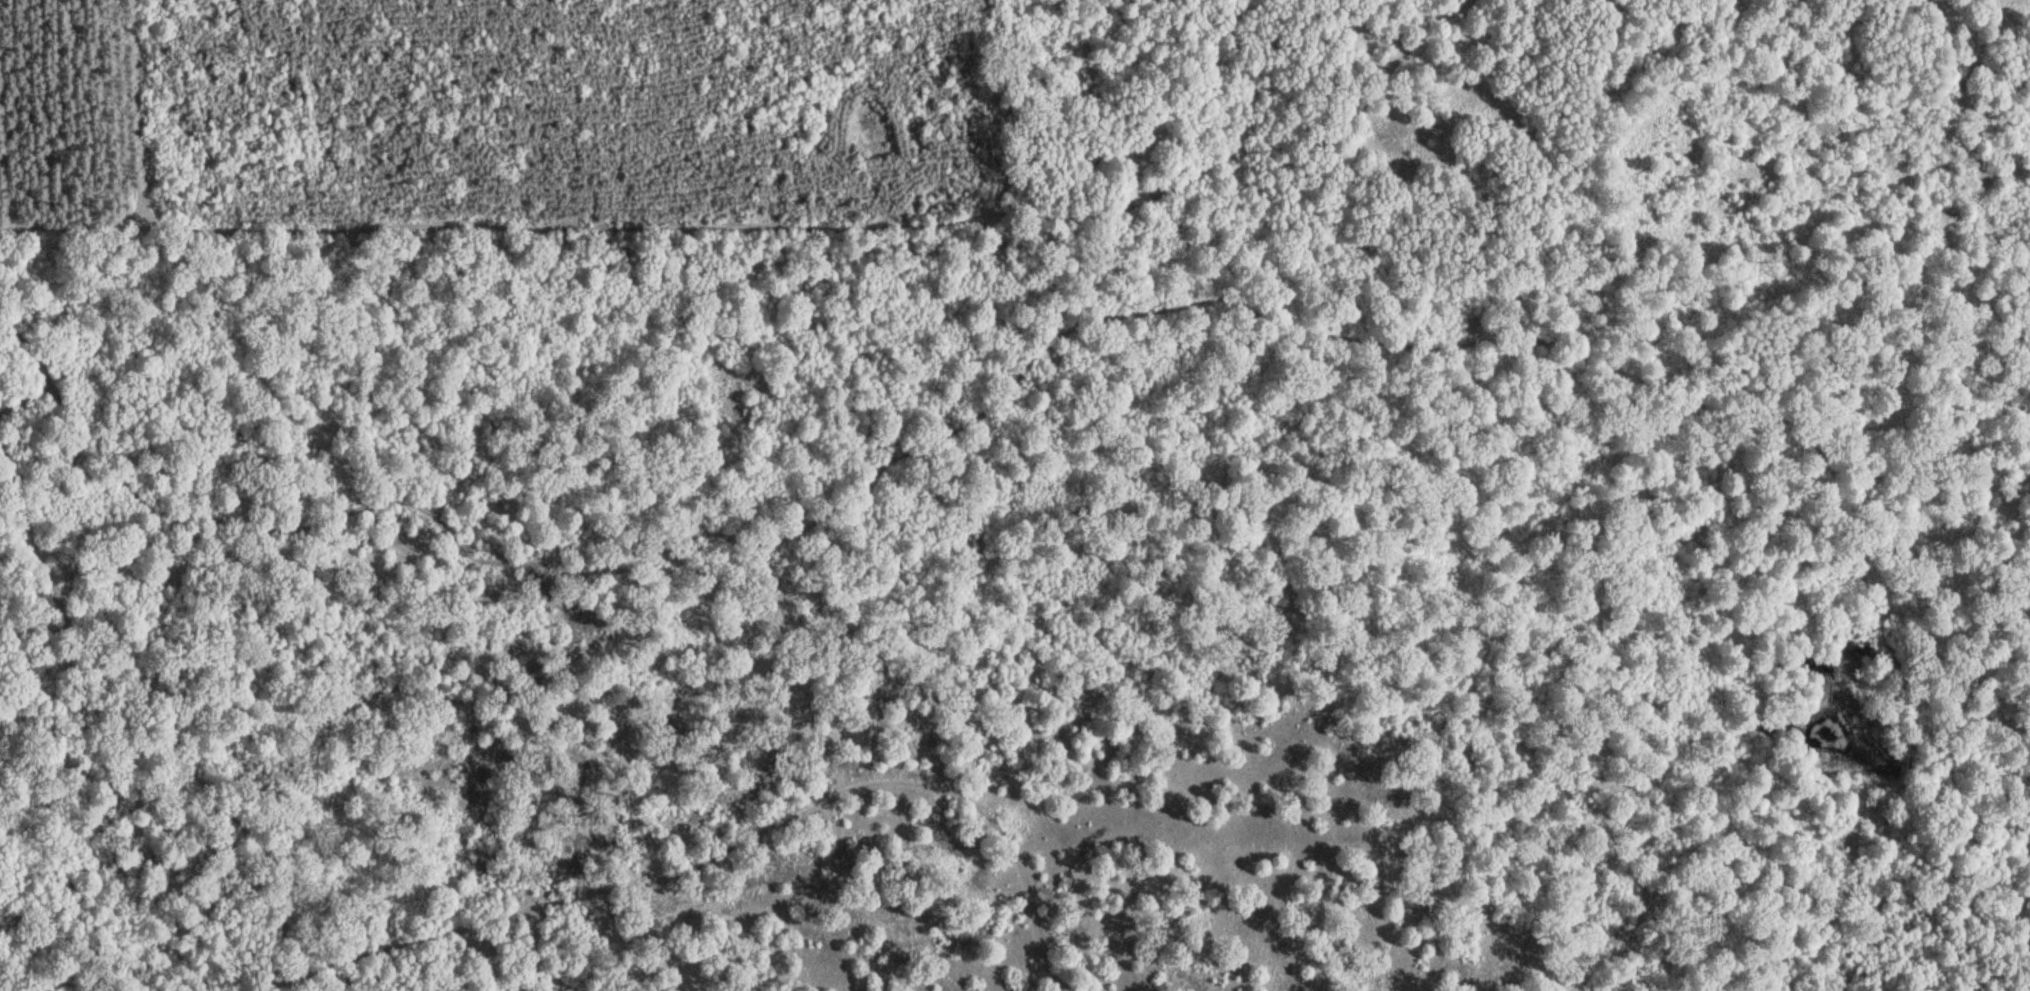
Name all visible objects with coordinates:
road: (771, 226)

